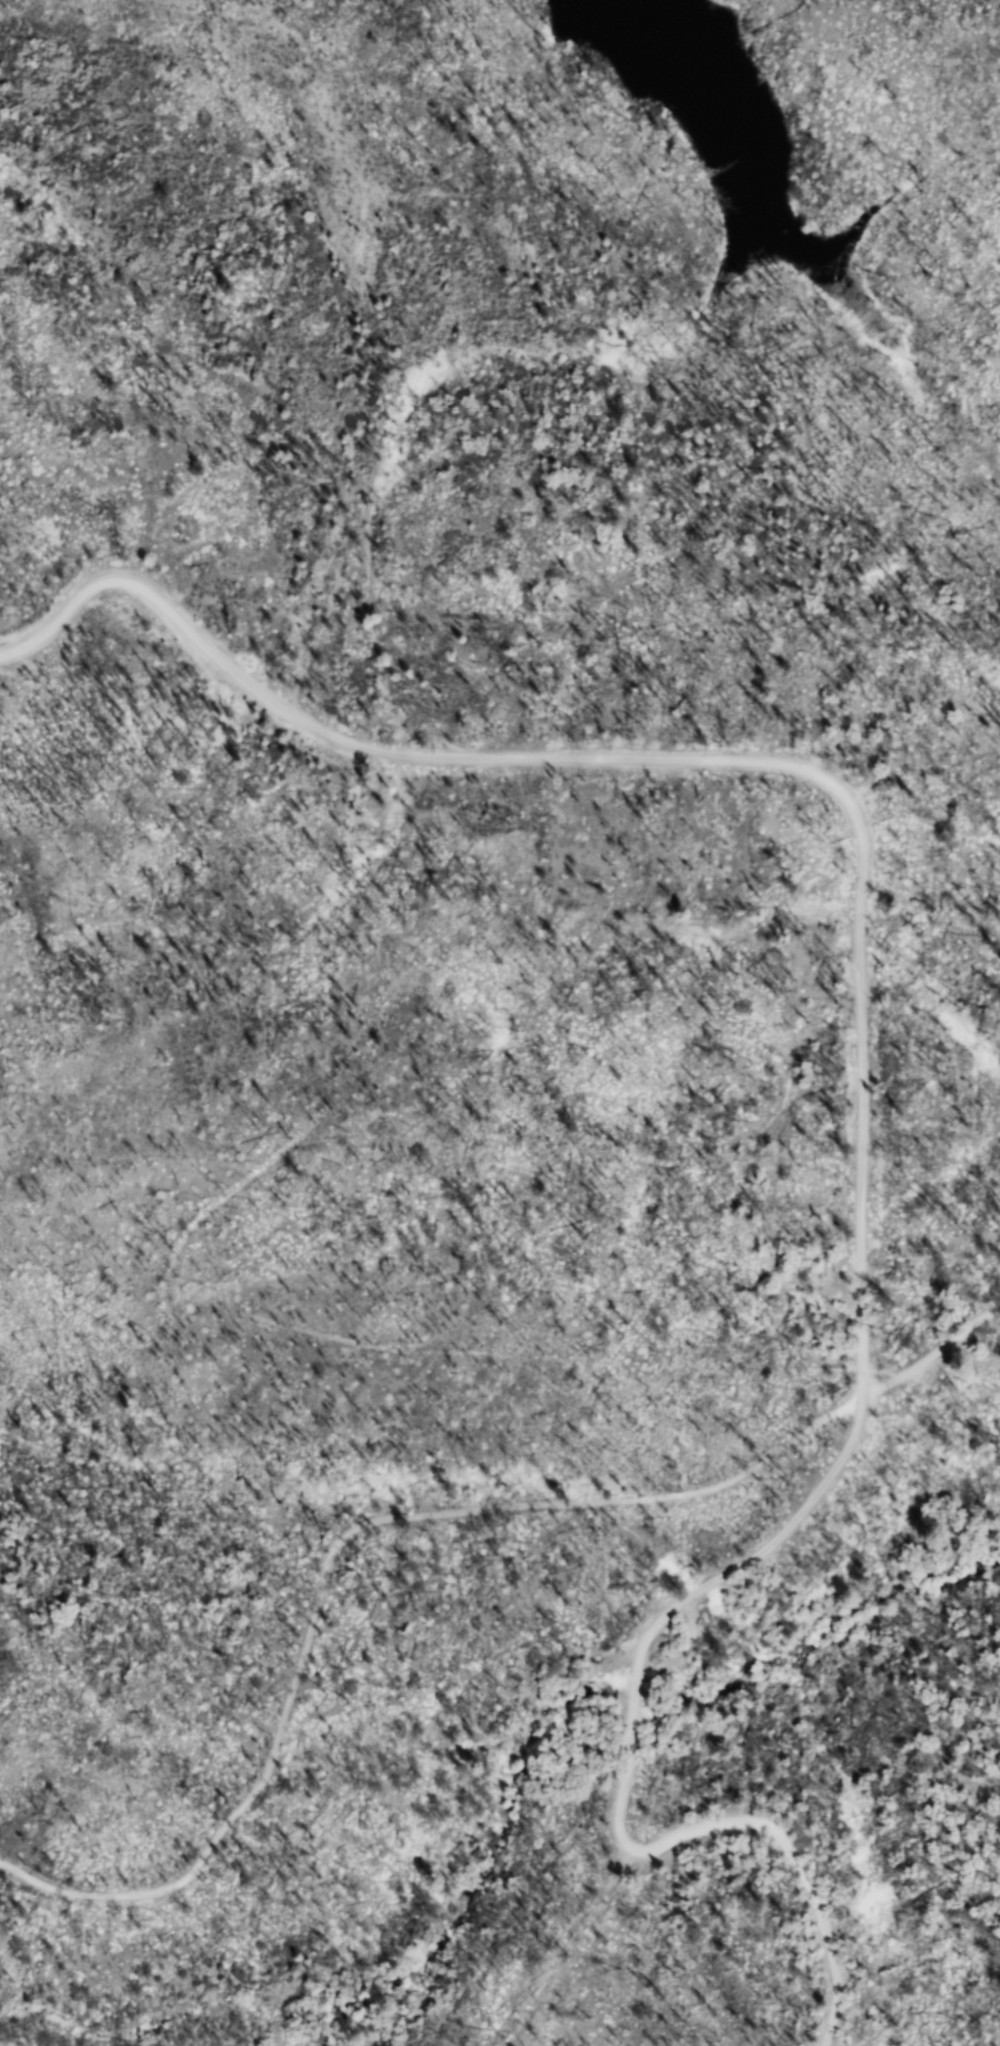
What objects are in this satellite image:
road: (863, 1090)
road: (934, 1355)
road: (337, 1544)

